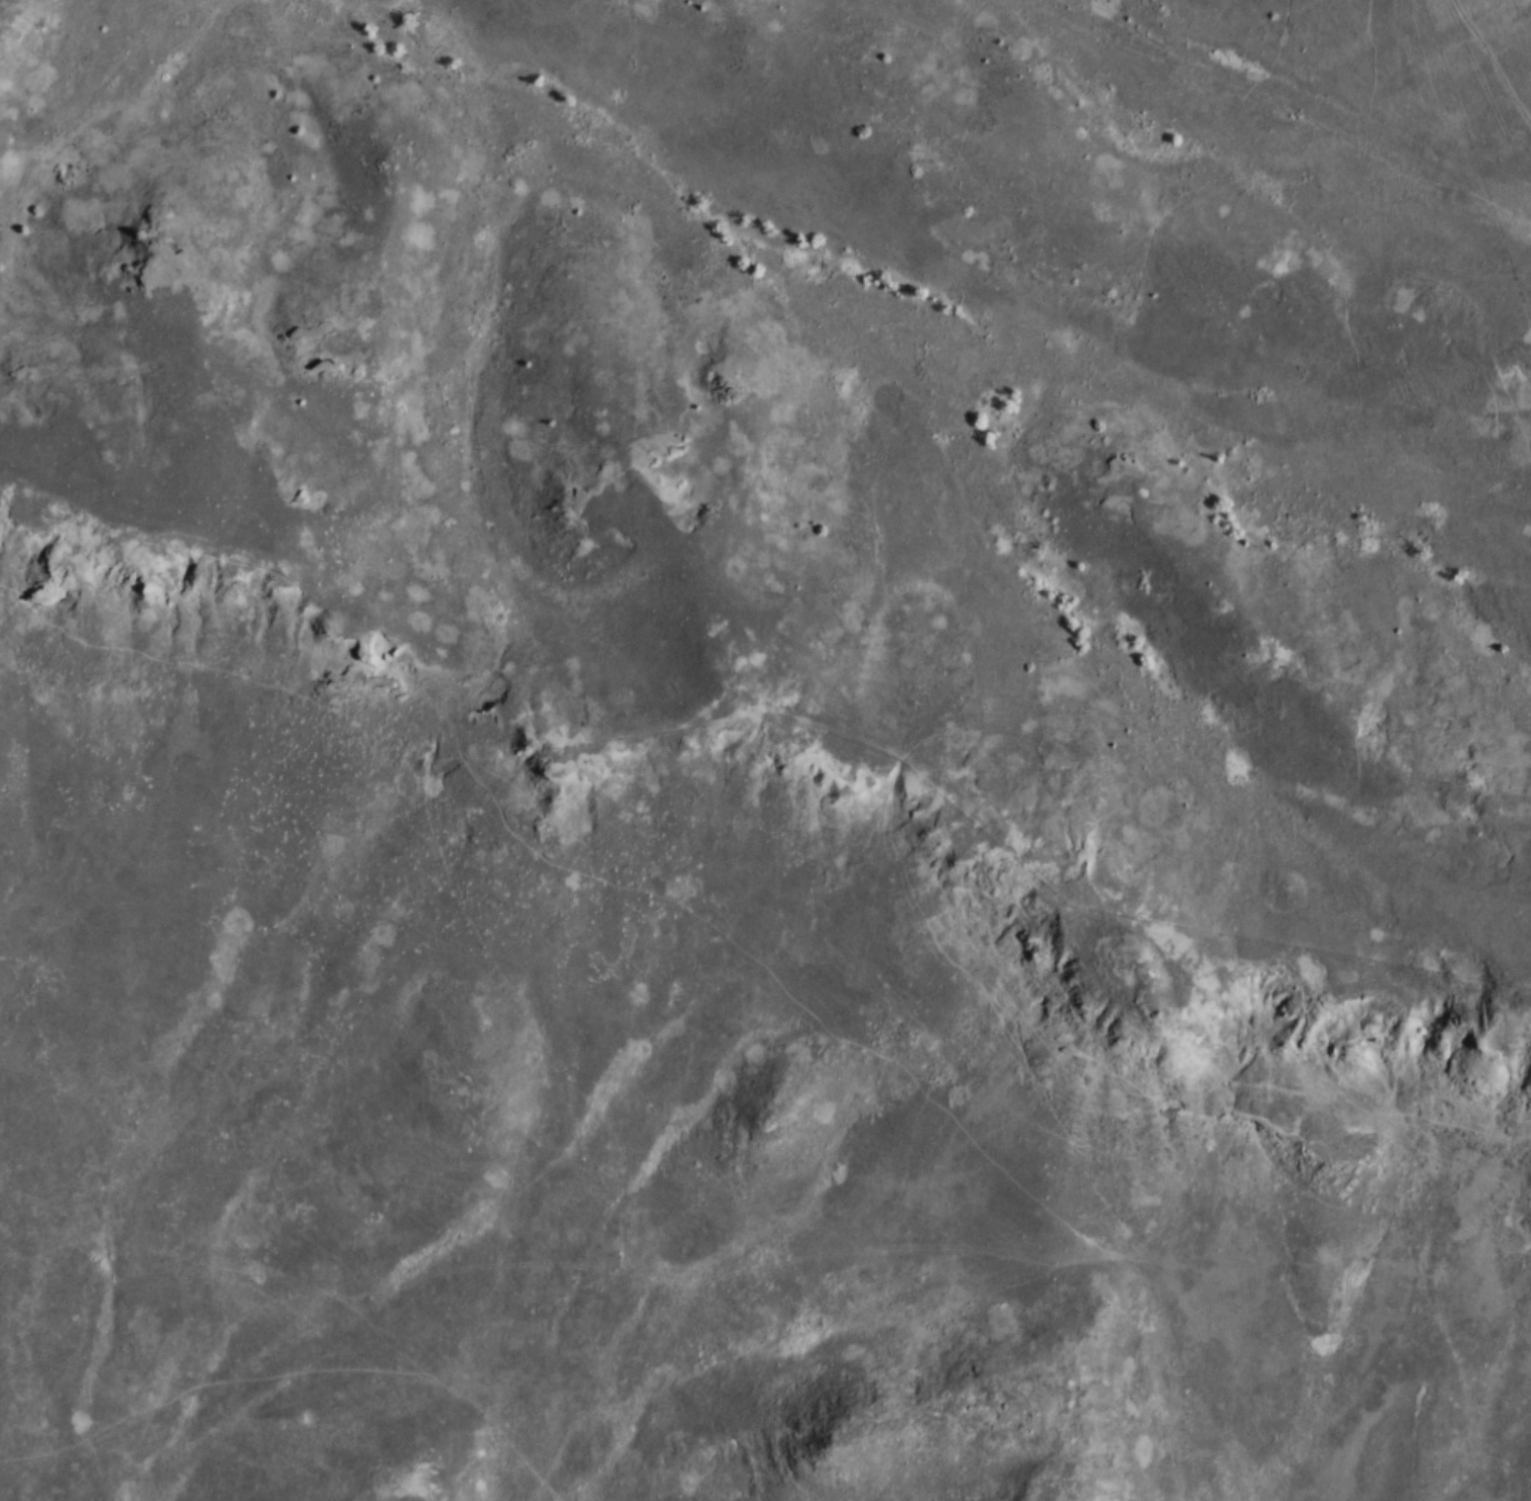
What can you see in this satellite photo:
road: (1519, 41)

